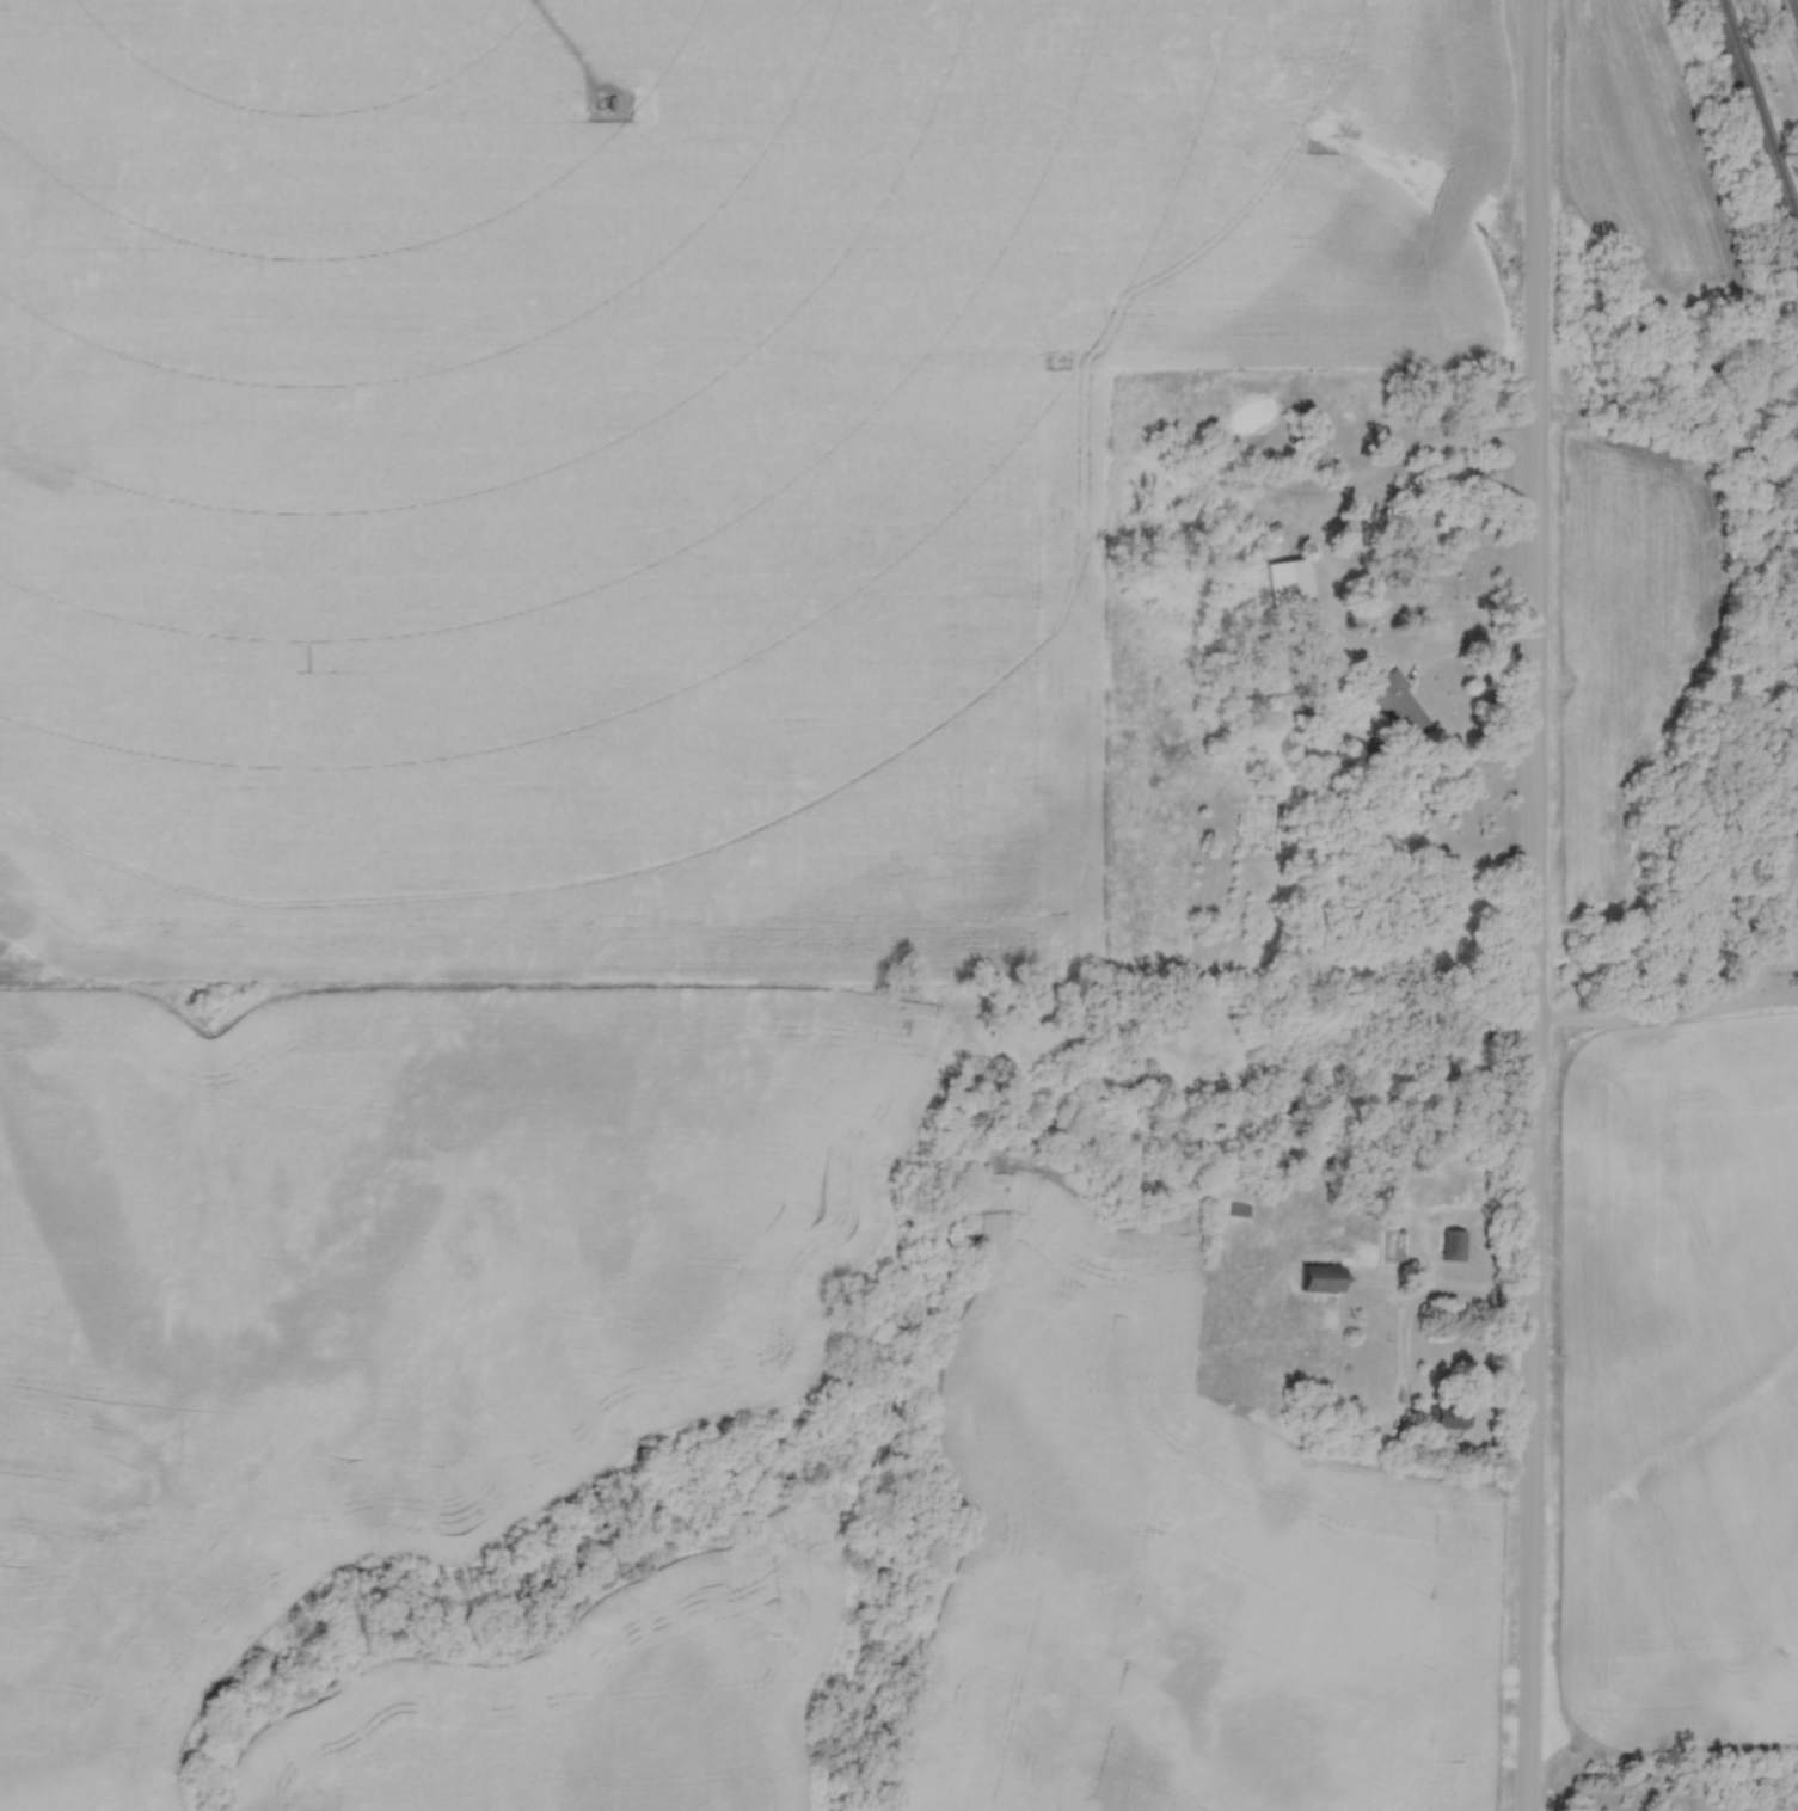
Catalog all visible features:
railway: (1759, 111)
crop: (1638, 149)
road: (1381, 454)
building: (1297, 464)
building: (1288, 583)
crop: (1622, 627)
building: (1400, 707)
road: (1534, 905)
road: (1773, 925)
road: (1667, 1012)
building: (1239, 1210)
building: (1454, 1246)
building: (1323, 1279)
road: (1435, 1294)
building: (1448, 1417)

